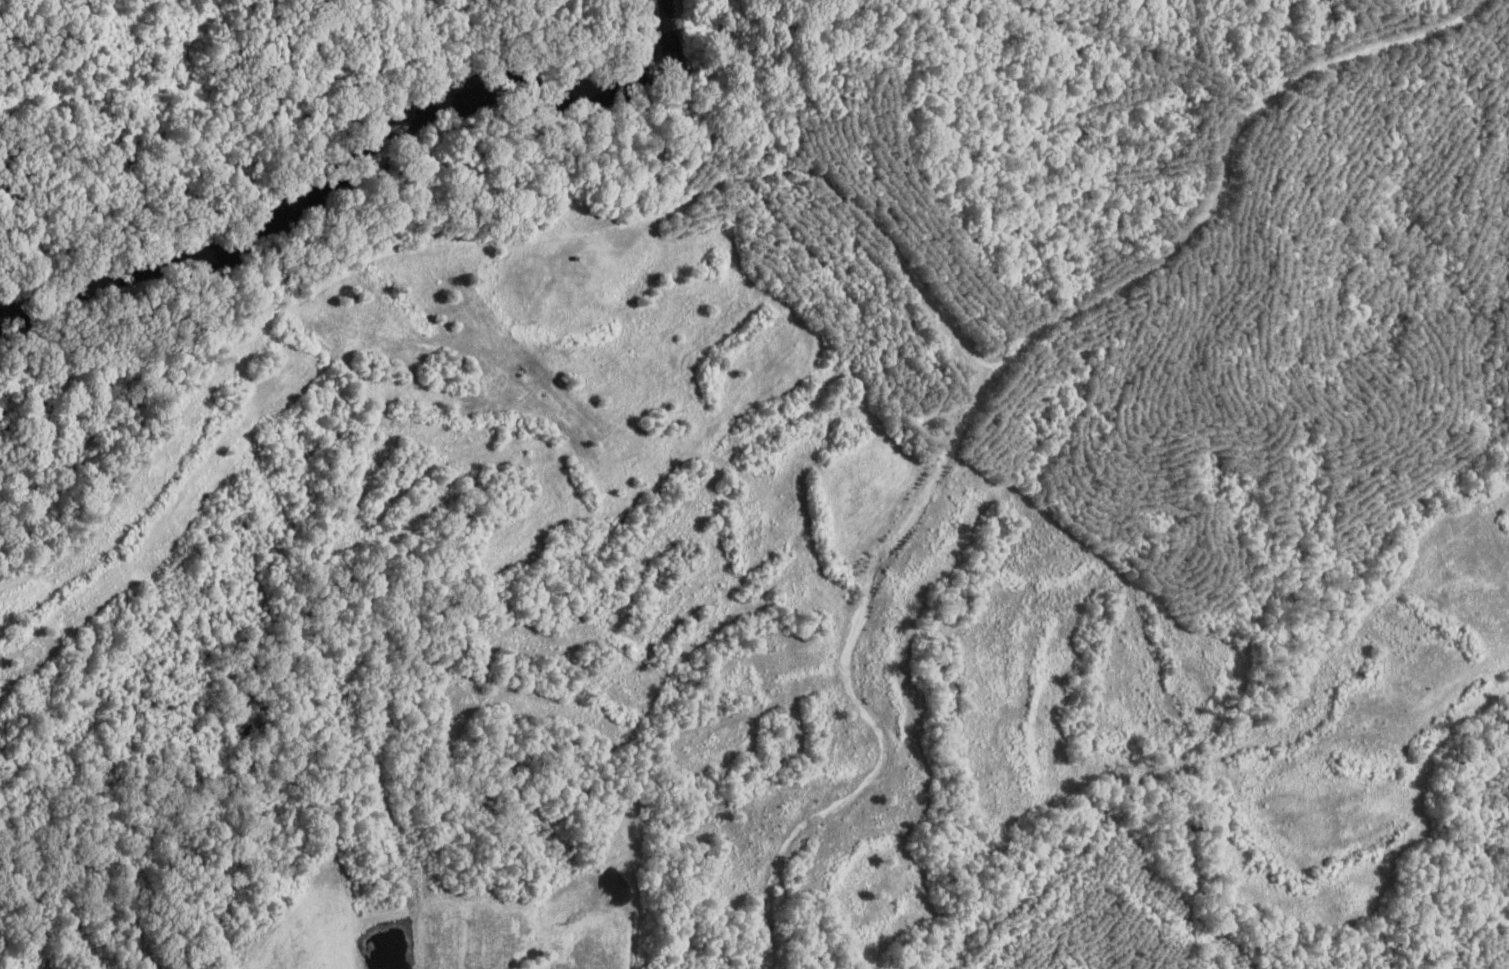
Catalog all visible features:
river: (362, 184)

